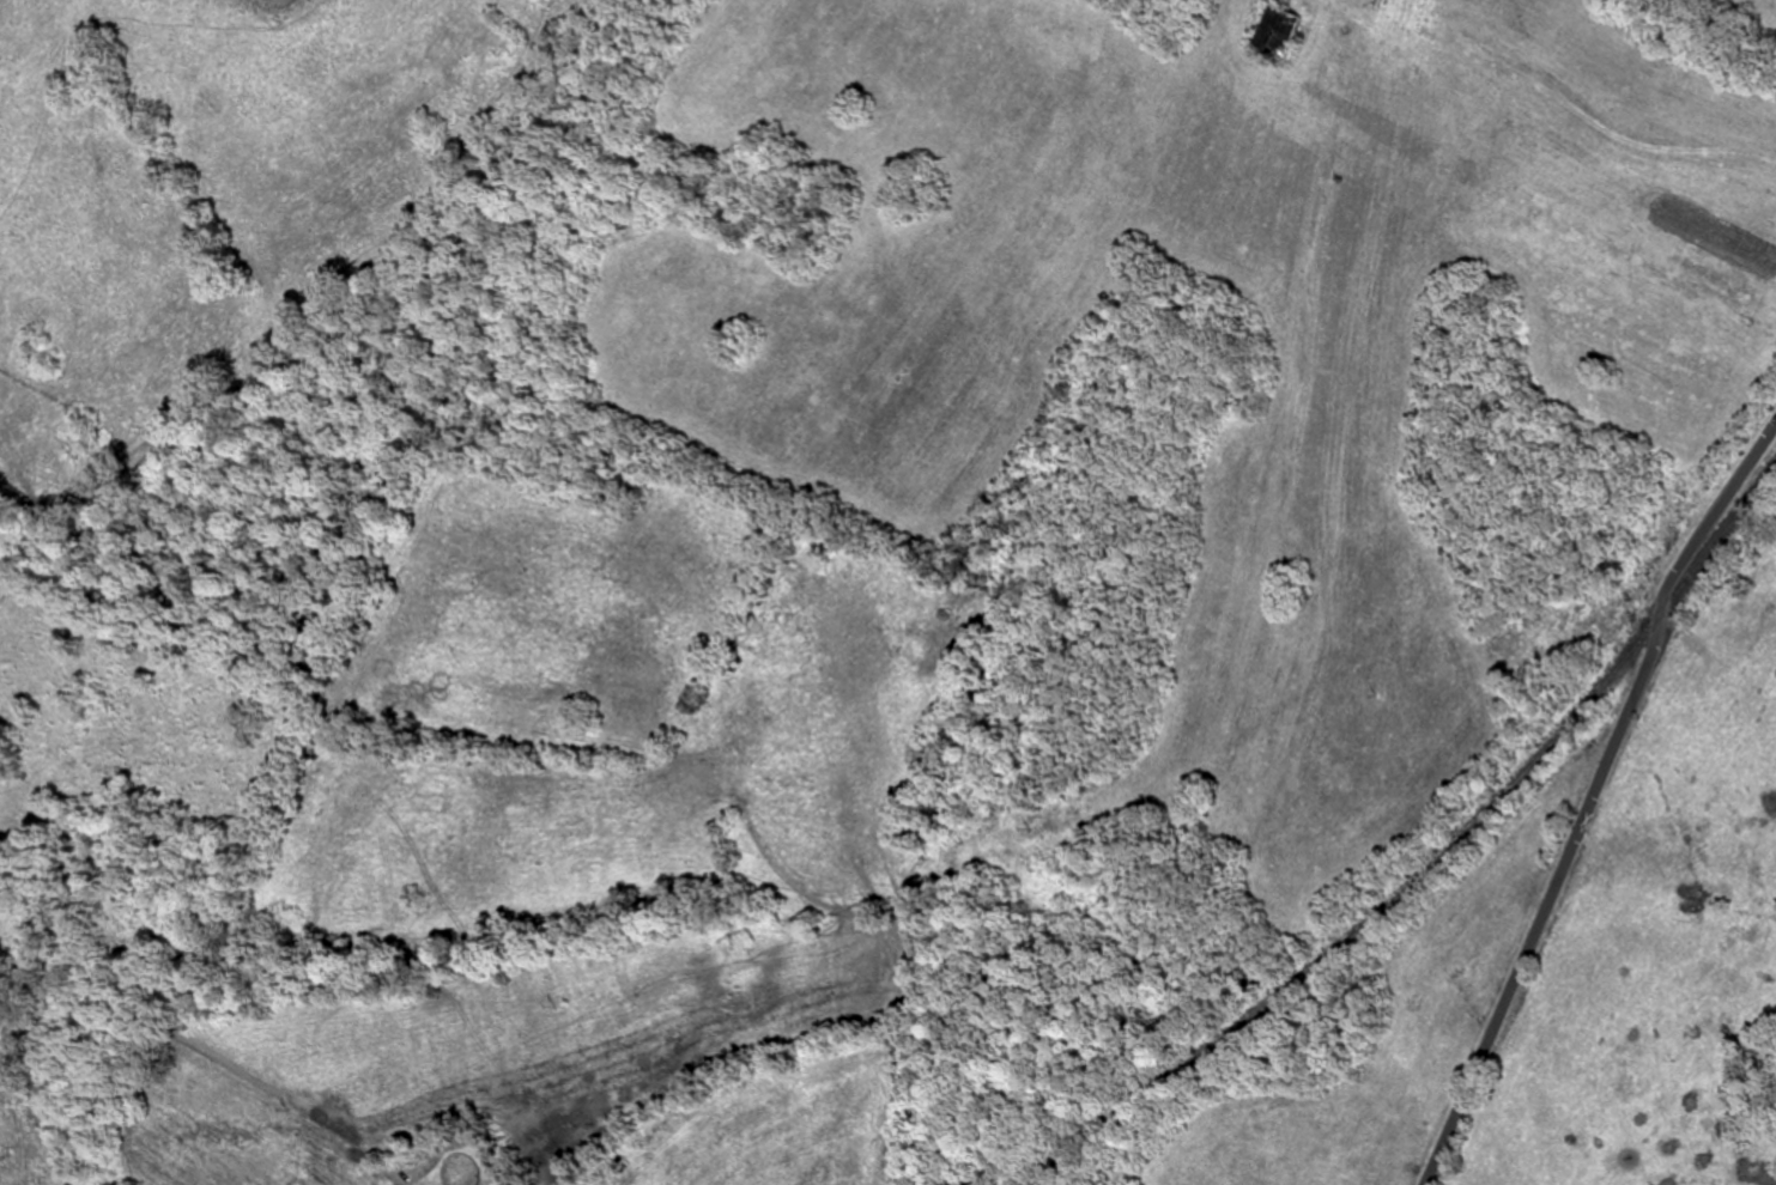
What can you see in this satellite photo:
building: (1271, 34)
road: (1593, 800)
railway: (1437, 856)
building: (901, 1160)

